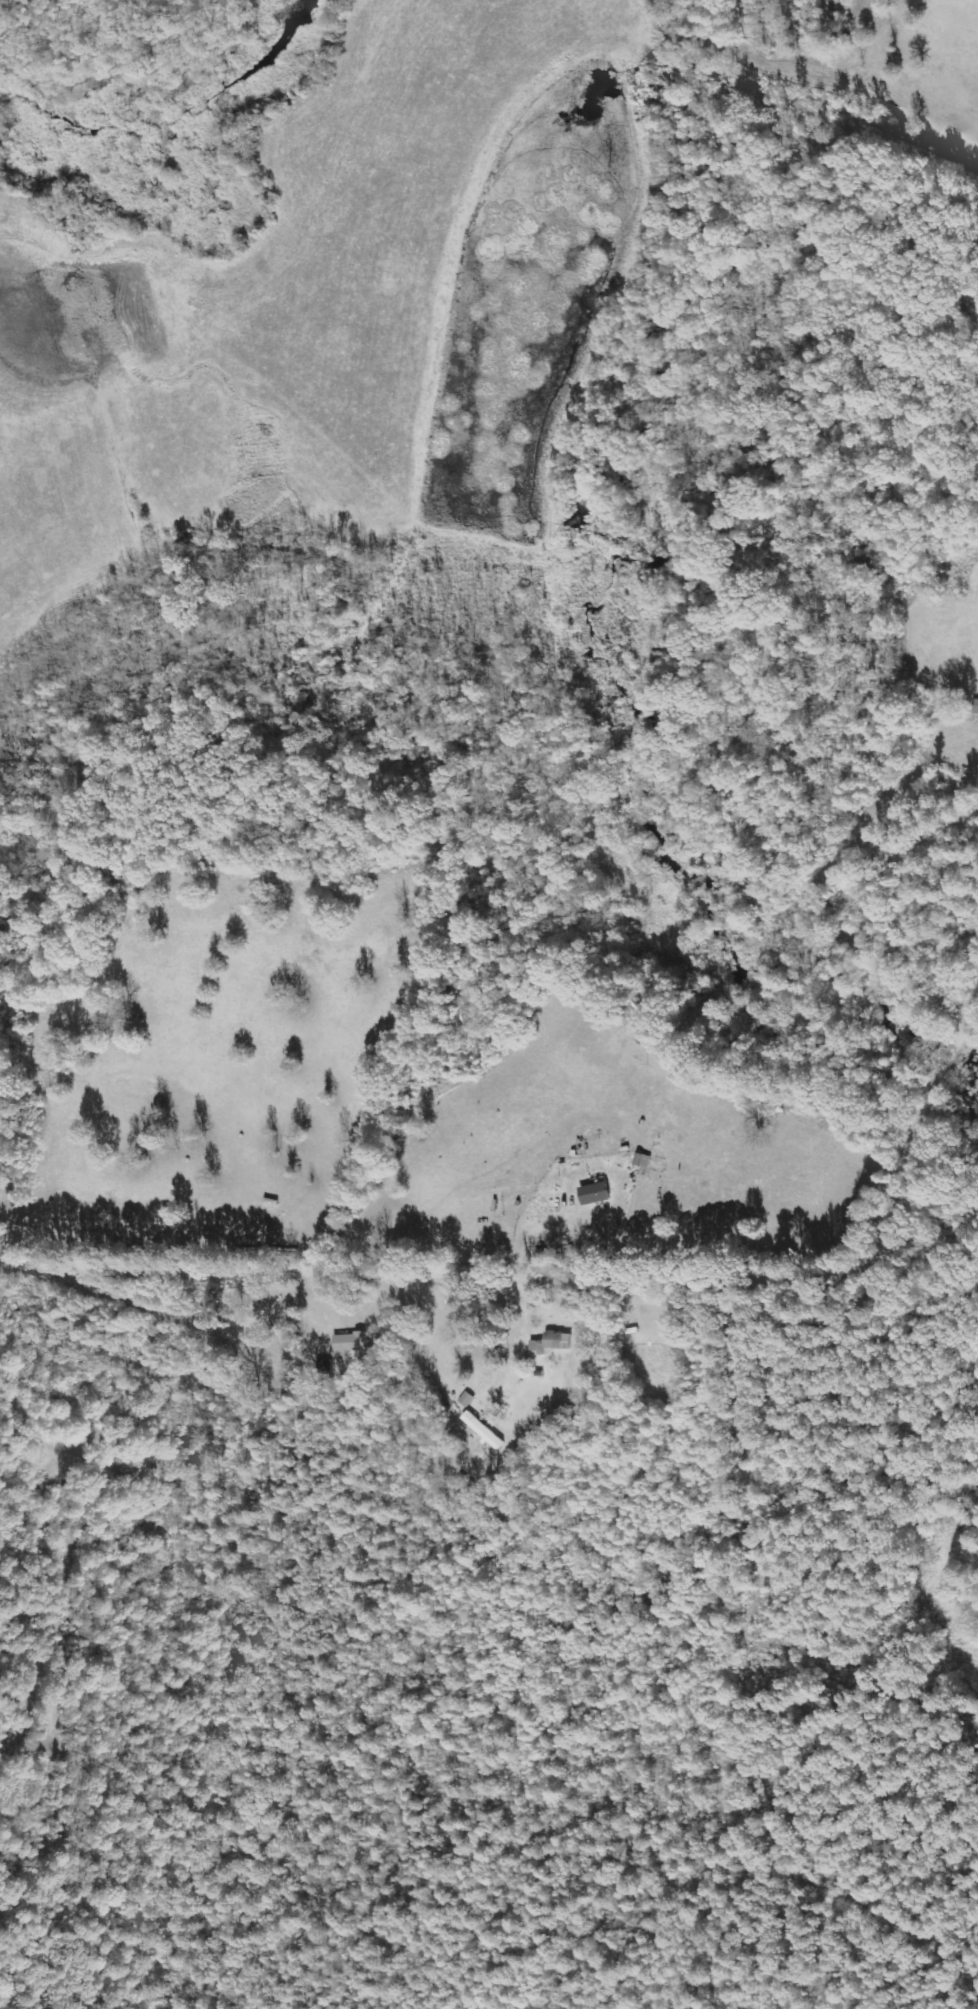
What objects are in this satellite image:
building: (595, 1194)
road: (575, 1278)
building: (350, 1341)
building: (553, 1342)
building: (484, 1430)
road: (951, 1454)
road: (49, 1563)

